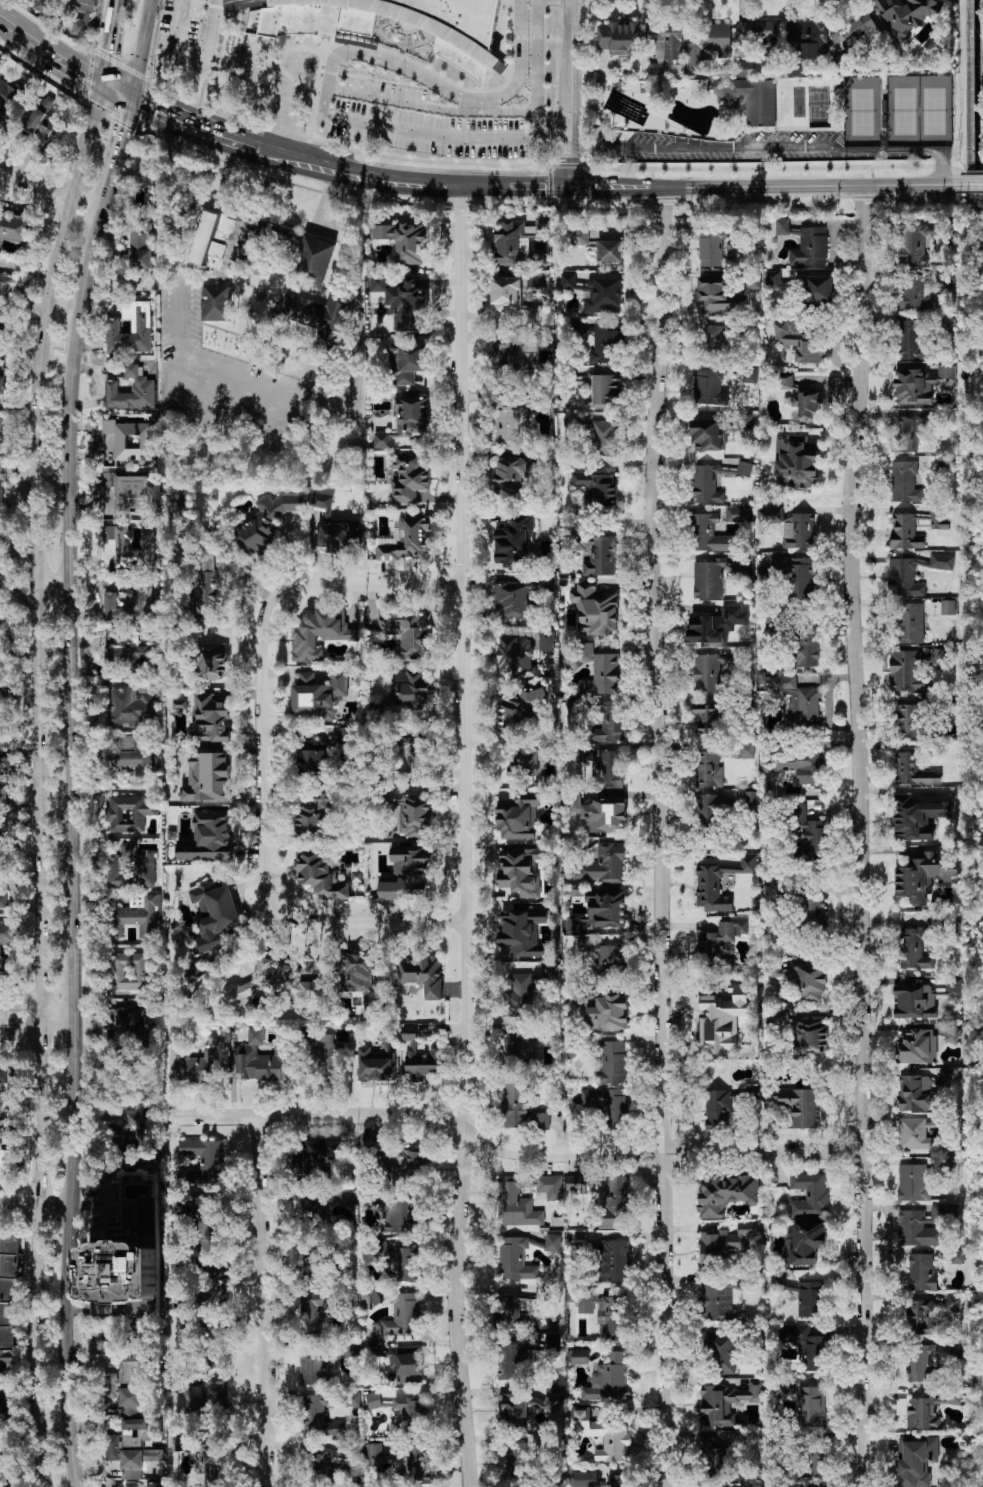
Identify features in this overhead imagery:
building: (44, 5)
building: (906, 15)
road: (6, 16)
building: (81, 16)
building: (386, 27)
parking lot: (195, 28)
building: (858, 29)
building: (761, 34)
building: (617, 37)
building: (809, 38)
road: (200, 39)
building: (666, 40)
road: (111, 41)
road: (139, 48)
road: (58, 52)
building: (745, 68)
building: (654, 69)
traffic signals: (103, 82)
building: (723, 88)
road: (115, 89)
road: (572, 94)
traffic signals: (127, 97)
building: (8, 99)
park: (798, 101)
building: (760, 103)
road: (432, 107)
park: (819, 107)
park: (904, 111)
park: (933, 111)
park: (862, 112)
road: (330, 117)
building: (47, 118)
road: (190, 123)
road: (114, 140)
road: (771, 150)
road: (376, 179)
road: (34, 185)
road: (777, 187)
road: (537, 188)
traffic signals: (572, 189)
building: (784, 227)
building: (15, 228)
road: (333, 229)
building: (579, 237)
building: (518, 239)
building: (404, 240)
building: (920, 241)
building: (208, 244)
building: (710, 248)
building: (810, 248)
building: (136, 250)
building: (609, 251)
building: (316, 257)
building: (773, 279)
building: (753, 281)
building: (5, 287)
building: (819, 290)
building: (505, 291)
building: (596, 293)
building: (916, 293)
building: (719, 296)
building: (215, 302)
building: (403, 304)
building: (532, 316)
road: (180, 323)
building: (141, 326)
building: (4, 328)
building: (713, 339)
building: (911, 340)
building: (799, 342)
building: (606, 343)
building: (406, 362)
building: (749, 374)
road: (355, 375)
road: (238, 378)
building: (0, 381)
building: (921, 384)
building: (143, 386)
building: (606, 386)
building: (709, 388)
building: (802, 398)
building: (412, 414)
road: (228, 415)
building: (514, 418)
building: (741, 422)
building: (570, 424)
building: (707, 431)
building: (908, 433)
building: (0, 435)
building: (603, 438)
building: (130, 439)
building: (382, 439)
building: (351, 448)
building: (795, 462)
building: (744, 469)
building: (510, 477)
building: (409, 478)
building: (904, 481)
building: (706, 485)
building: (596, 488)
building: (1, 492)
building: (125, 492)
building: (322, 501)
building: (737, 514)
building: (264, 523)
building: (798, 531)
building: (905, 531)
building: (708, 534)
building: (338, 536)
building: (407, 538)
building: (514, 542)
building: (0, 544)
building: (128, 548)
building: (598, 555)
building: (941, 561)
building: (799, 575)
building: (904, 576)
building: (713, 577)
road: (52, 579)
building: (2, 583)
building: (204, 588)
building: (141, 600)
building: (511, 601)
building: (940, 606)
building: (594, 610)
building: (911, 623)
building: (715, 625)
building: (0, 630)
building: (407, 633)
building: (318, 634)
building: (546, 640)
building: (806, 647)
building: (515, 656)
building: (130, 657)
building: (940, 659)
building: (211, 664)
building: (600, 671)
building: (708, 671)
building: (908, 672)
building: (2, 679)
building: (408, 690)
building: (318, 693)
building: (793, 698)
building: (179, 704)
building: (520, 707)
building: (130, 708)
building: (210, 717)
building: (707, 721)
building: (907, 721)
building: (345, 737)
building: (1, 738)
building: (746, 750)
building: (410, 752)
building: (526, 762)
road: (273, 763)
building: (311, 763)
building: (796, 766)
building: (605, 767)
building: (709, 768)
building: (912, 771)
road: (39, 781)
building: (3, 796)
building: (750, 799)
building: (573, 803)
building: (709, 811)
building: (127, 813)
building: (604, 814)
building: (311, 815)
building: (414, 815)
building: (518, 816)
building: (916, 817)
building: (811, 833)
road: (70, 834)
building: (207, 835)
road: (863, 836)
road: (467, 837)
road: (662, 837)
building: (604, 864)
building: (129, 866)
building: (520, 870)
building: (407, 872)
building: (318, 876)
building: (356, 877)
building: (923, 877)
building: (718, 878)
building: (770, 892)
building: (3, 898)
building: (606, 907)
building: (814, 910)
building: (214, 914)
building: (137, 918)
building: (575, 923)
building: (522, 932)
building: (721, 938)
building: (7, 942)
building: (912, 949)
building: (603, 956)
building: (129, 971)
building: (354, 973)
building: (421, 974)
building: (808, 982)
building: (272, 983)
building: (954, 986)
building: (519, 995)
building: (580, 1001)
building: (914, 1002)
building: (368, 1008)
building: (609, 1013)
road: (35, 1015)
building: (779, 1017)
building: (721, 1022)
building: (124, 1025)
building: (551, 1034)
building: (952, 1034)
building: (811, 1036)
building: (918, 1046)
building: (517, 1049)
building: (328, 1055)
building: (419, 1057)
building: (262, 1060)
building: (613, 1063)
building: (373, 1066)
building: (197, 1068)
building: (9, 1077)
building: (920, 1091)
building: (608, 1103)
building: (515, 1105)
building: (797, 1105)
building: (539, 1121)
building: (133, 1128)
building: (916, 1134)
road: (515, 1151)
building: (315, 1156)
building: (204, 1159)
building: (7, 1160)
building: (399, 1160)
building: (913, 1183)
building: (575, 1184)
building: (725, 1195)
building: (809, 1195)
building: (344, 1197)
building: (525, 1199)
building: (615, 1202)
road: (102, 1203)
road: (34, 1207)
building: (313, 1210)
building: (401, 1215)
building: (921, 1226)
building: (209, 1231)
building: (806, 1241)
building: (552, 1242)
building: (723, 1246)
building: (957, 1256)
building: (515, 1259)
building: (614, 1261)
building: (400, 1262)
building: (8, 1265)
building: (311, 1267)
building: (124, 1271)
building: (922, 1272)
building: (542, 1293)
building: (370, 1299)
building: (810, 1300)
road: (266, 1301)
building: (717, 1303)
building: (514, 1311)
building: (604, 1311)
building: (920, 1311)
building: (314, 1313)
building: (404, 1315)
building: (124, 1334)
building: (6, 1336)
building: (809, 1347)
building: (218, 1351)
building: (722, 1352)
building: (580, 1356)
building: (513, 1361)
building: (409, 1365)
building: (312, 1367)
building: (608, 1380)
building: (209, 1396)
building: (353, 1398)
building: (373, 1400)
building: (726, 1402)
building: (526, 1405)
building: (812, 1406)
building: (3, 1409)
building: (929, 1410)
building: (319, 1417)
building: (407, 1417)
building: (128, 1424)
building: (615, 1441)
building: (179, 1443)
building: (375, 1454)
building: (715, 1456)
building: (514, 1460)
building: (818, 1460)
building: (916, 1461)
building: (321, 1462)
building: (416, 1462)
building: (132, 1464)
building: (211, 1468)
building: (595, 1480)
building: (155, 1483)
building: (124, 1484)
building: (8, 1486)
building: (812, 1486)

